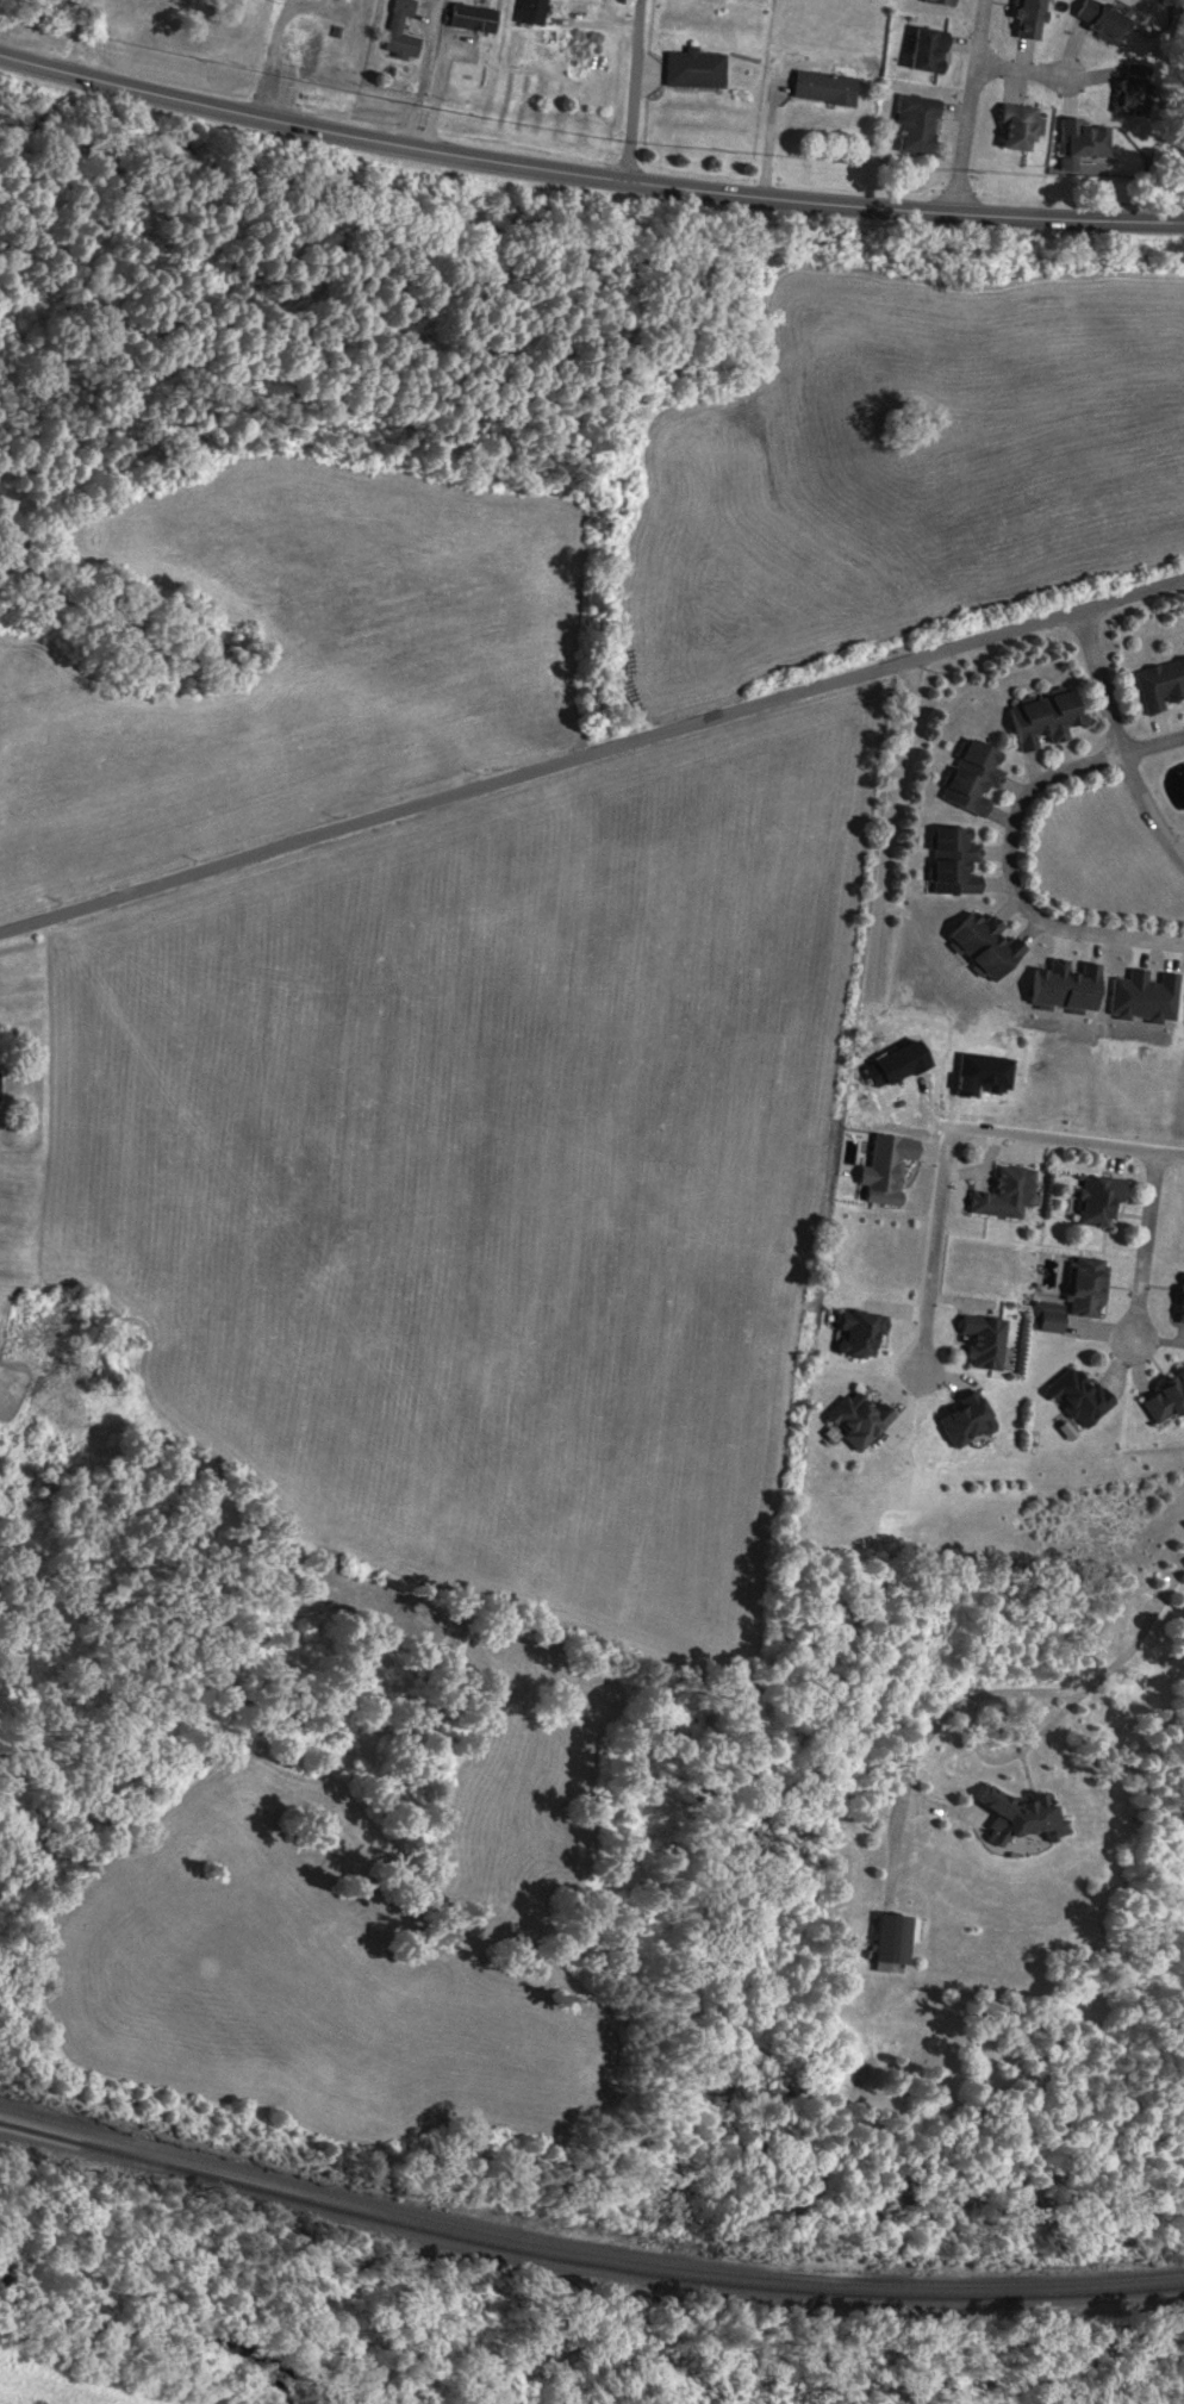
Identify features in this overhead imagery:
building: (342, 0)
building: (934, 2)
building: (528, 12)
building: (469, 18)
building: (1023, 19)
building: (1098, 21)
building: (391, 26)
building: (294, 49)
building: (923, 50)
building: (574, 61)
building: (692, 69)
road: (1020, 69)
building: (821, 87)
building: (1128, 89)
road: (632, 95)
road: (966, 108)
building: (912, 125)
building: (1014, 126)
building: (1078, 141)
road: (586, 186)
road: (1129, 594)
road: (1099, 683)
building: (1159, 685)
building: (1039, 720)
road: (537, 770)
building: (968, 778)
road: (1148, 810)
road: (1009, 849)
building: (951, 862)
road: (879, 921)
building: (982, 946)
road: (1065, 1140)
building: (1004, 1194)
building: (1093, 1200)
road: (1142, 1248)
road: (933, 1251)
building: (1082, 1287)
building: (1179, 1301)
building: (858, 1333)
building: (1163, 1396)
building: (1076, 1397)
building: (854, 1419)
building: (962, 1420)
building: (1018, 1816)
building: (890, 1939)
railway: (584, 2253)
railway: (584, 2263)
river: (137, 2327)

